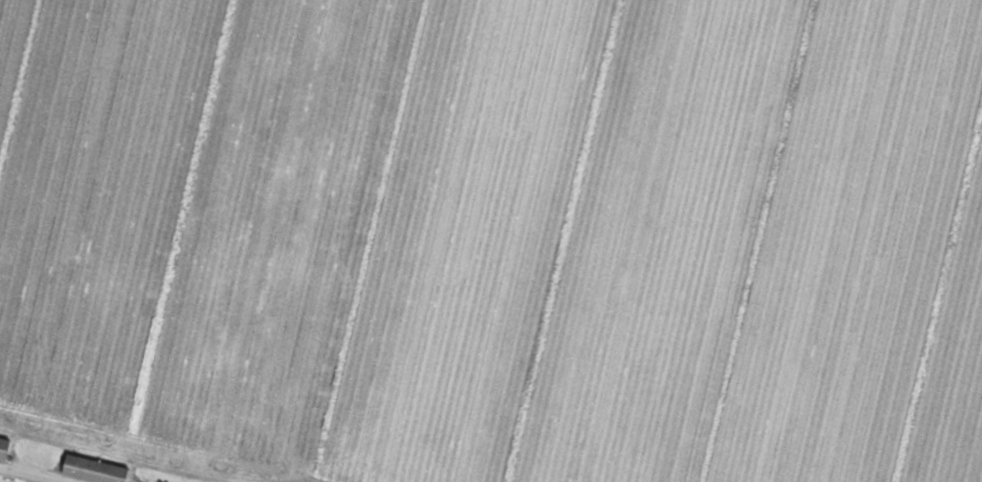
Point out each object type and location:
building: (7, 448)
building: (98, 470)
road: (31, 474)

